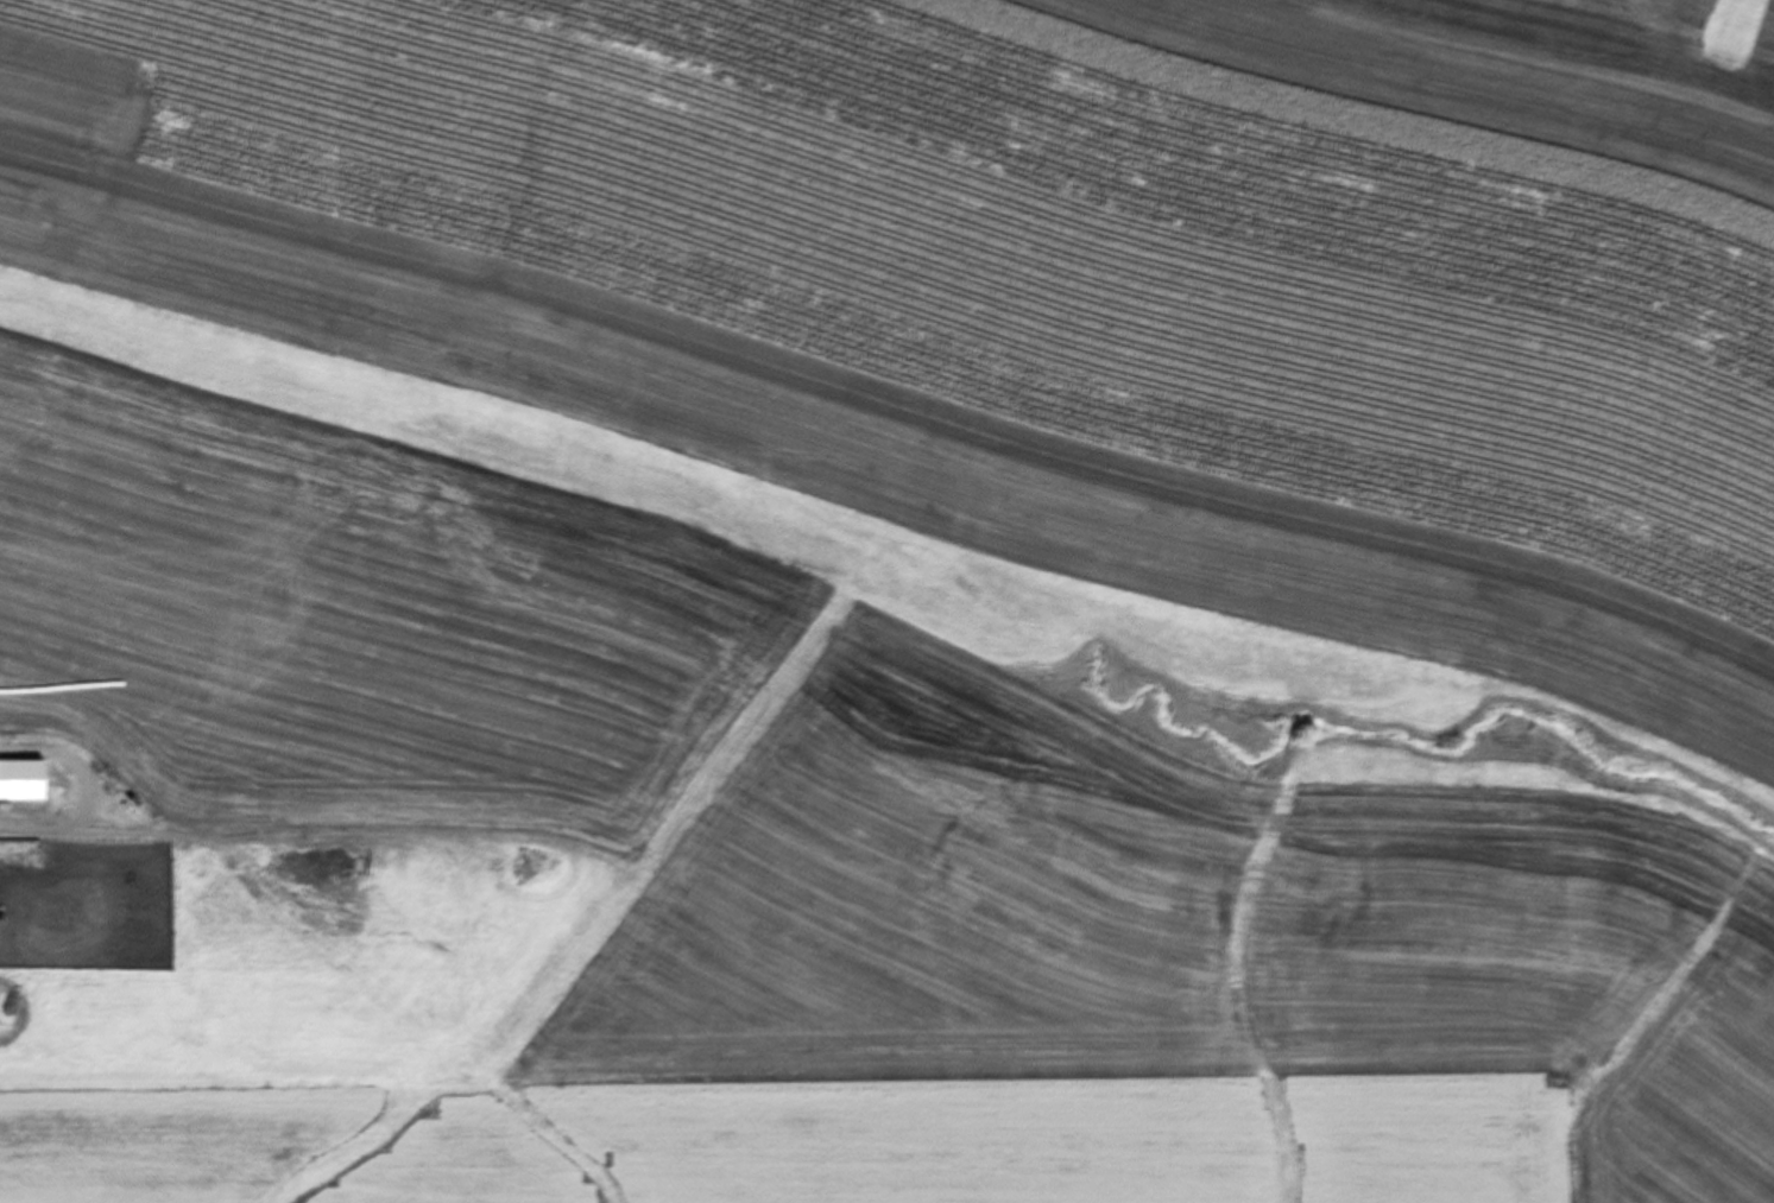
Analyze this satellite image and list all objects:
building: (21, 780)

